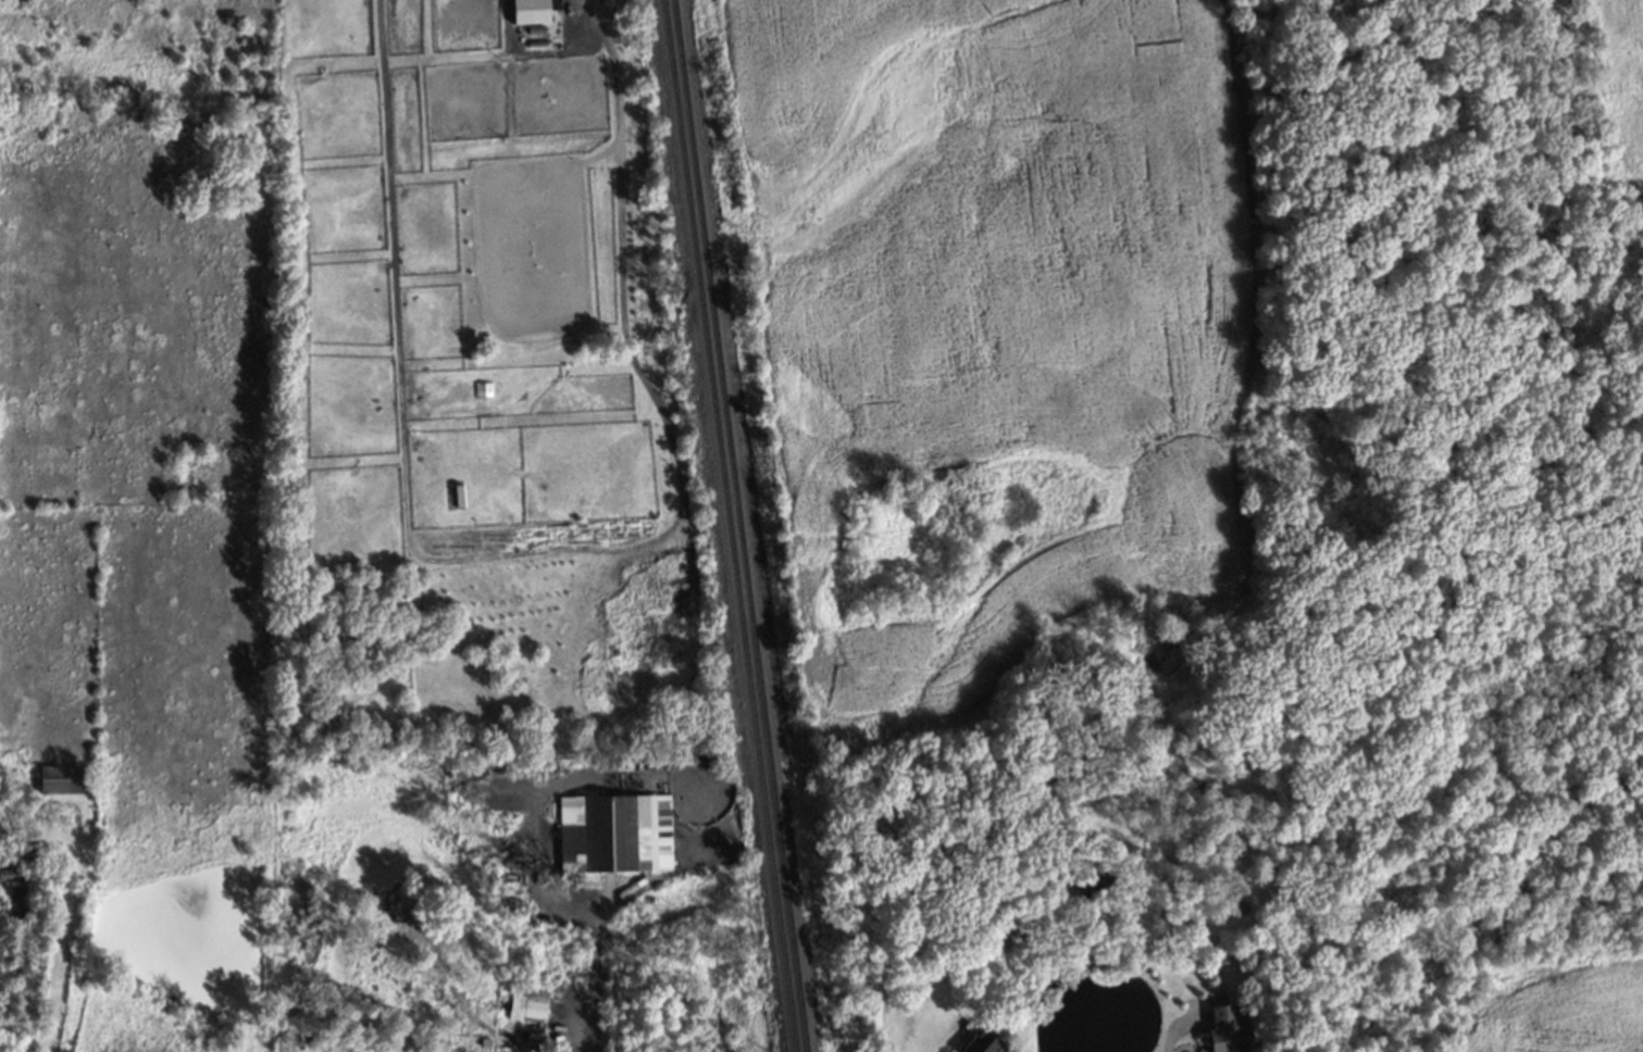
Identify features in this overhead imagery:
building: (532, 11)
building: (575, 13)
crop: (1630, 71)
crop: (130, 292)
crop: (1008, 302)
building: (461, 496)
railway: (730, 525)
railway: (742, 525)
crop: (48, 637)
crop: (183, 684)
building: (62, 779)
building: (621, 834)
road: (596, 988)
road: (18, 989)
building: (530, 1005)
building: (1228, 1030)
building: (984, 1042)

